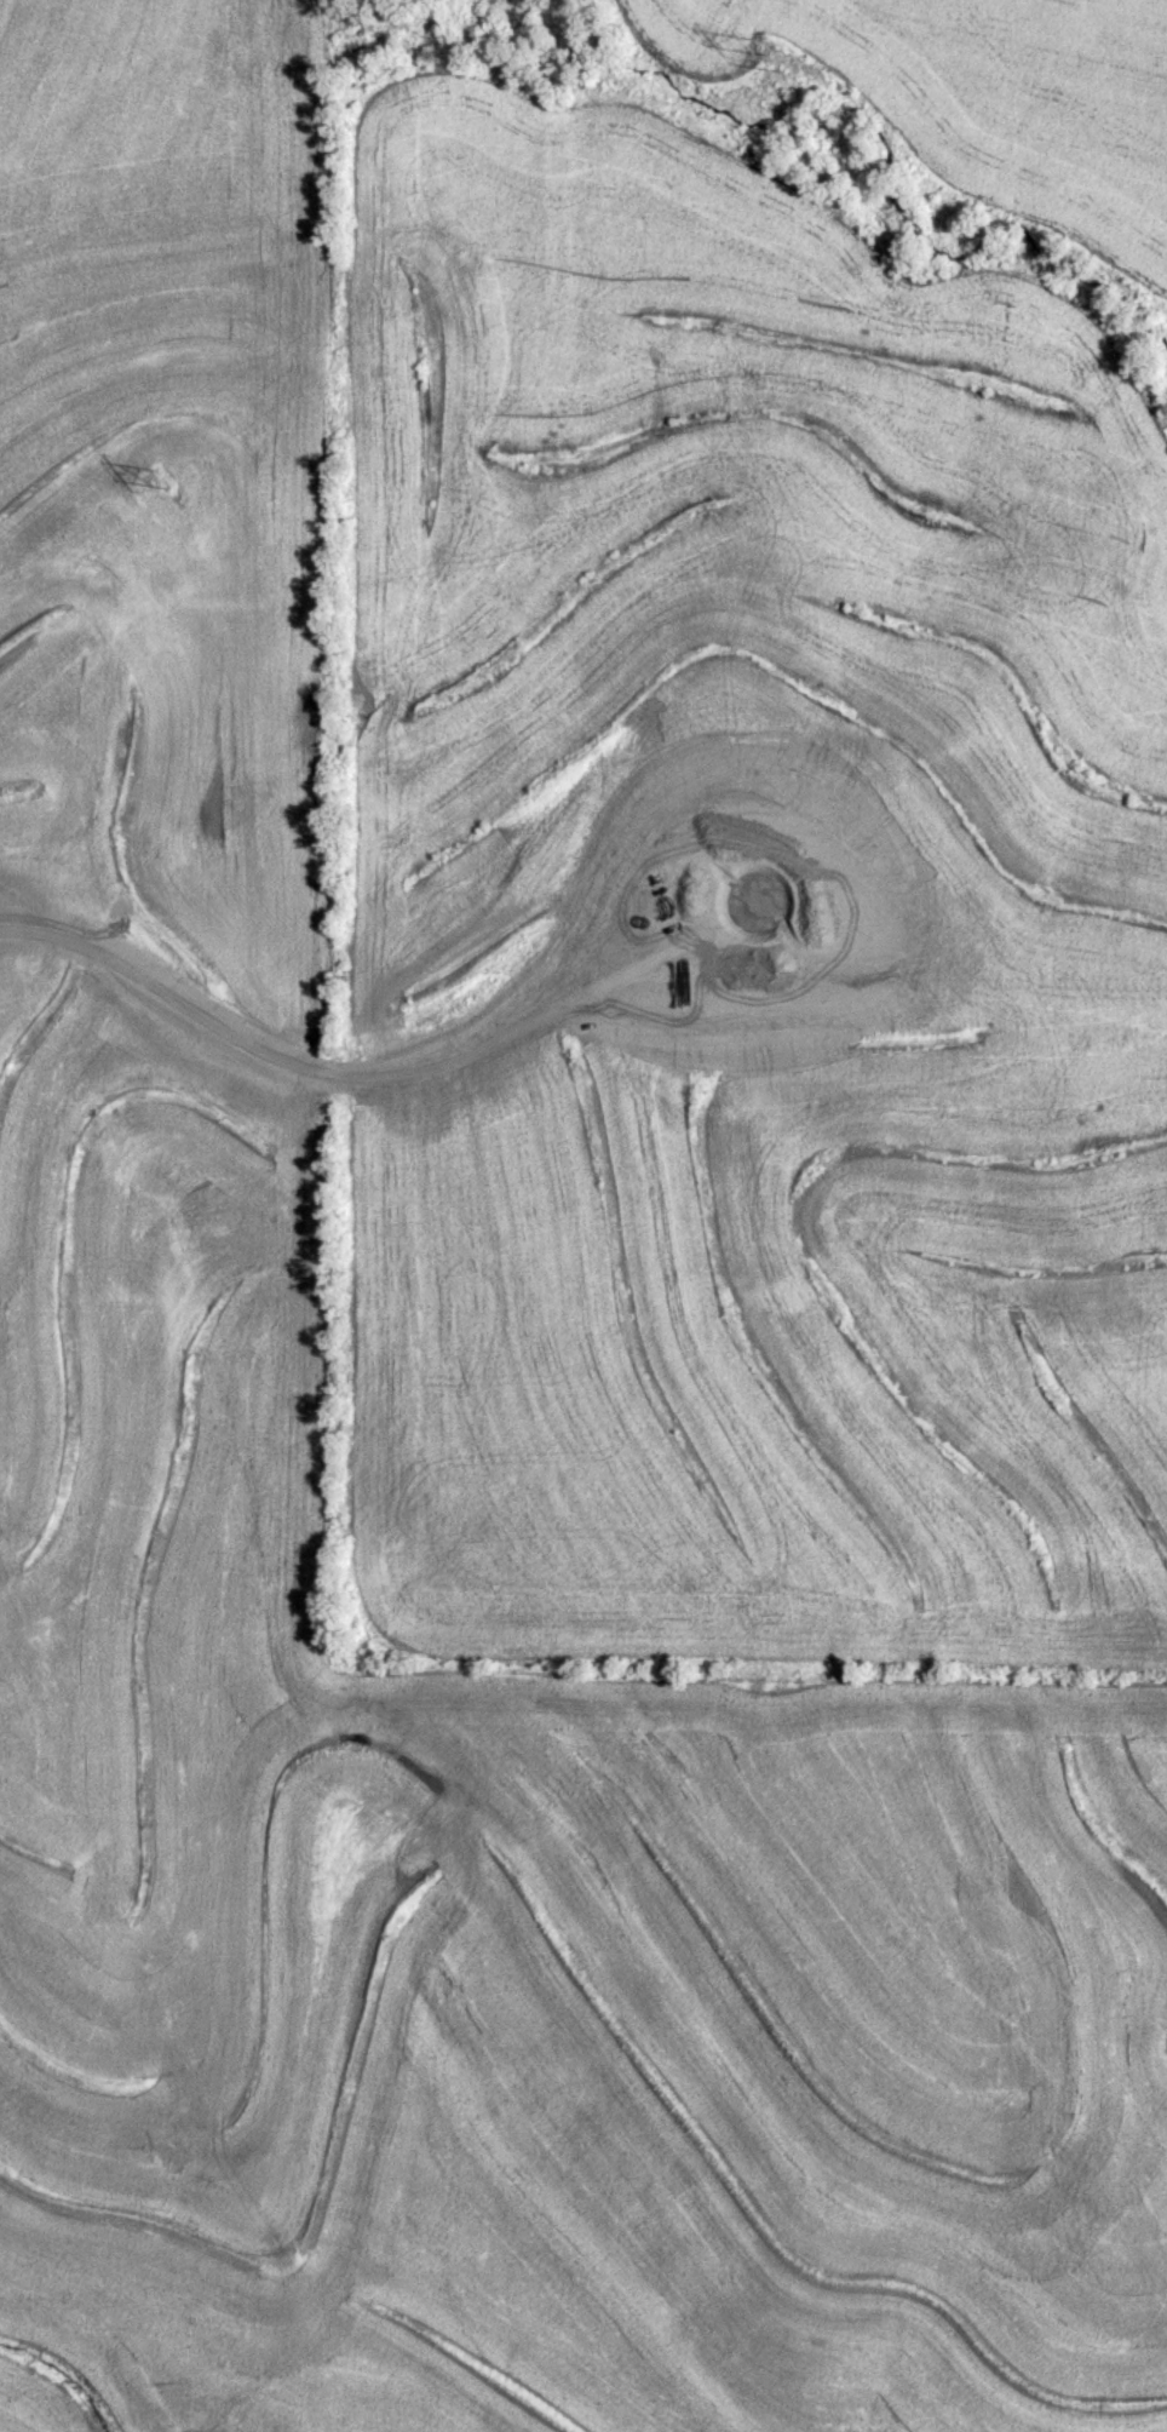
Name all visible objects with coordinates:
power tower: (769, 55)
power tower: (163, 476)
wind turbine: (748, 910)

